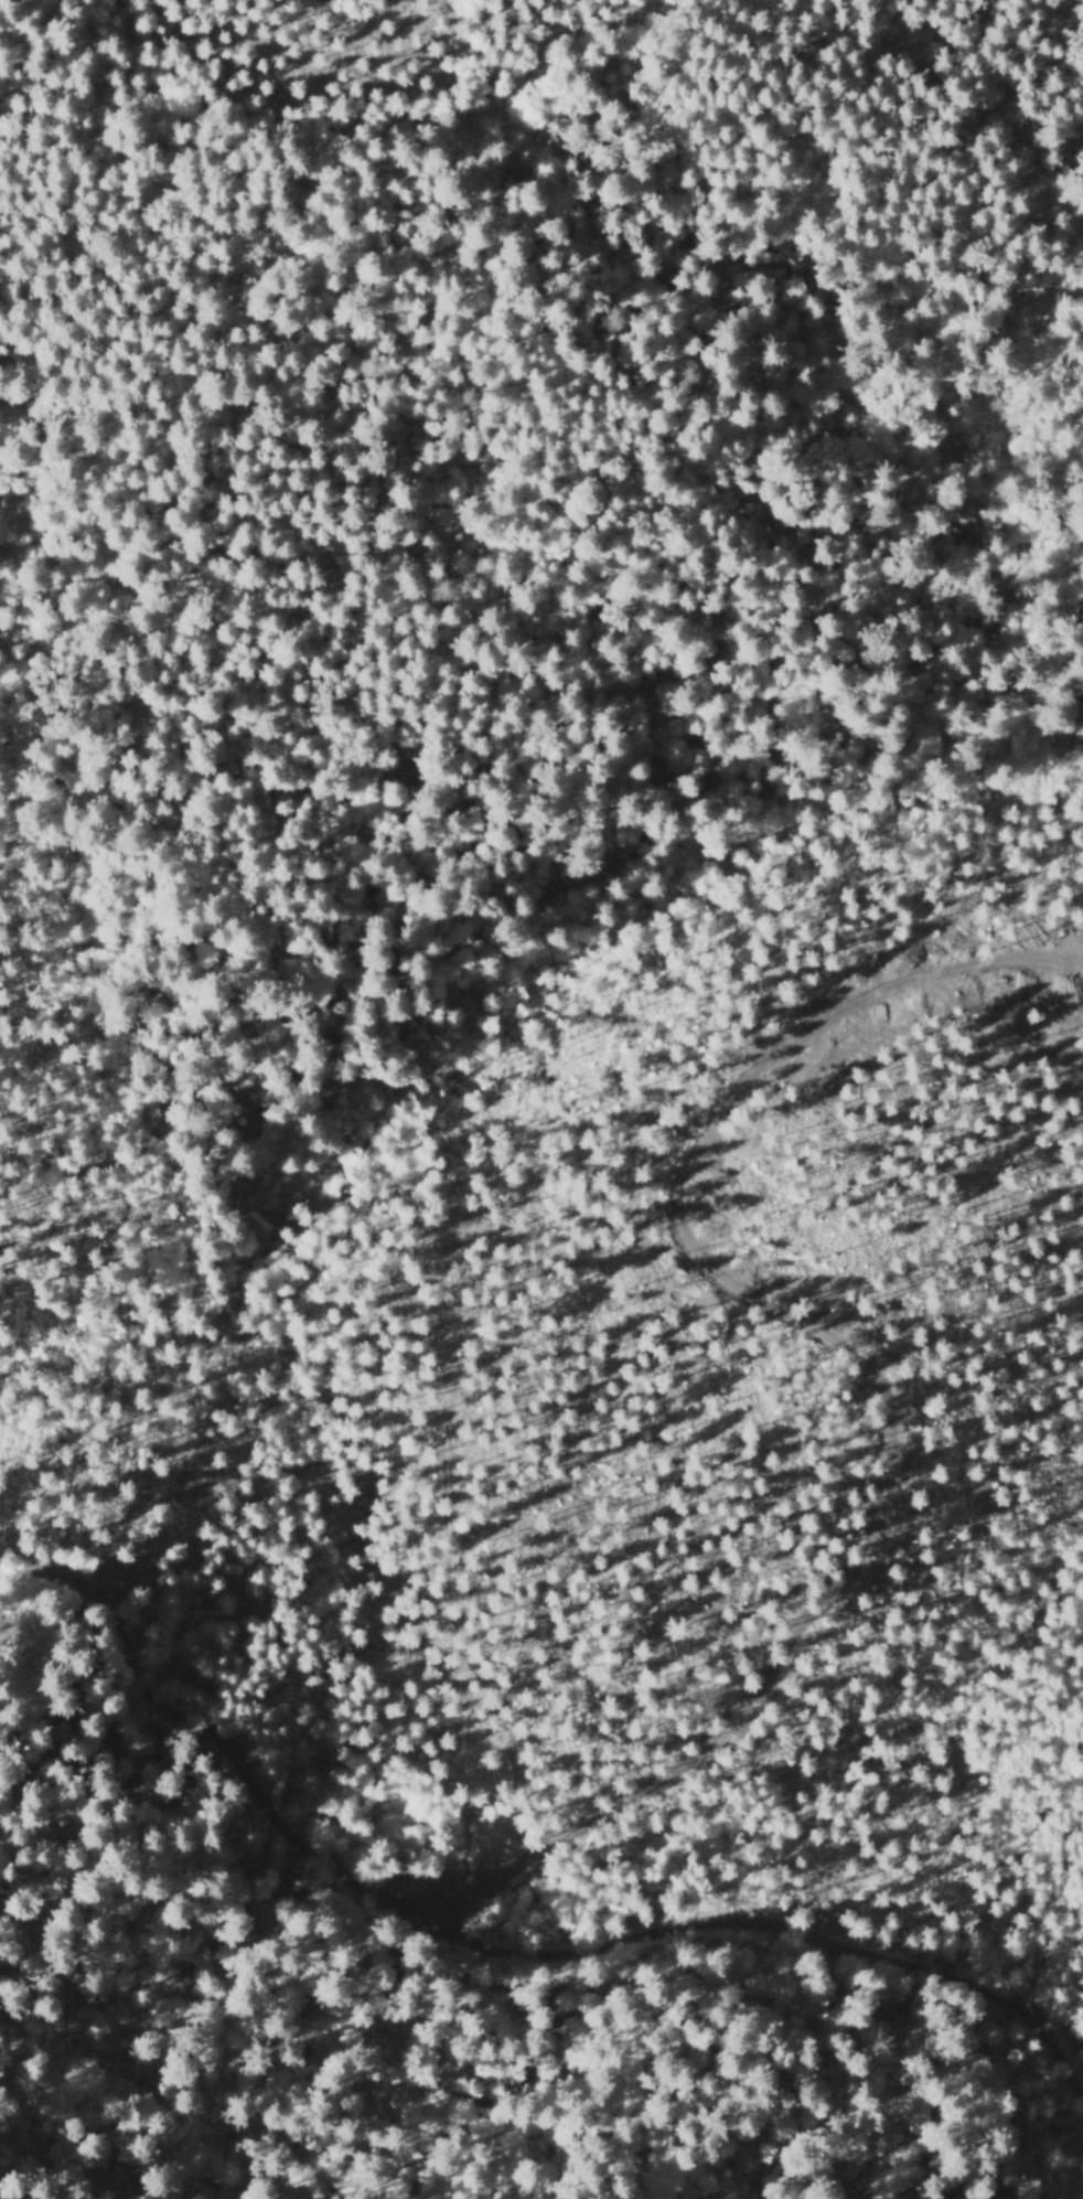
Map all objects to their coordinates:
road: (952, 44)
road: (501, 1939)

